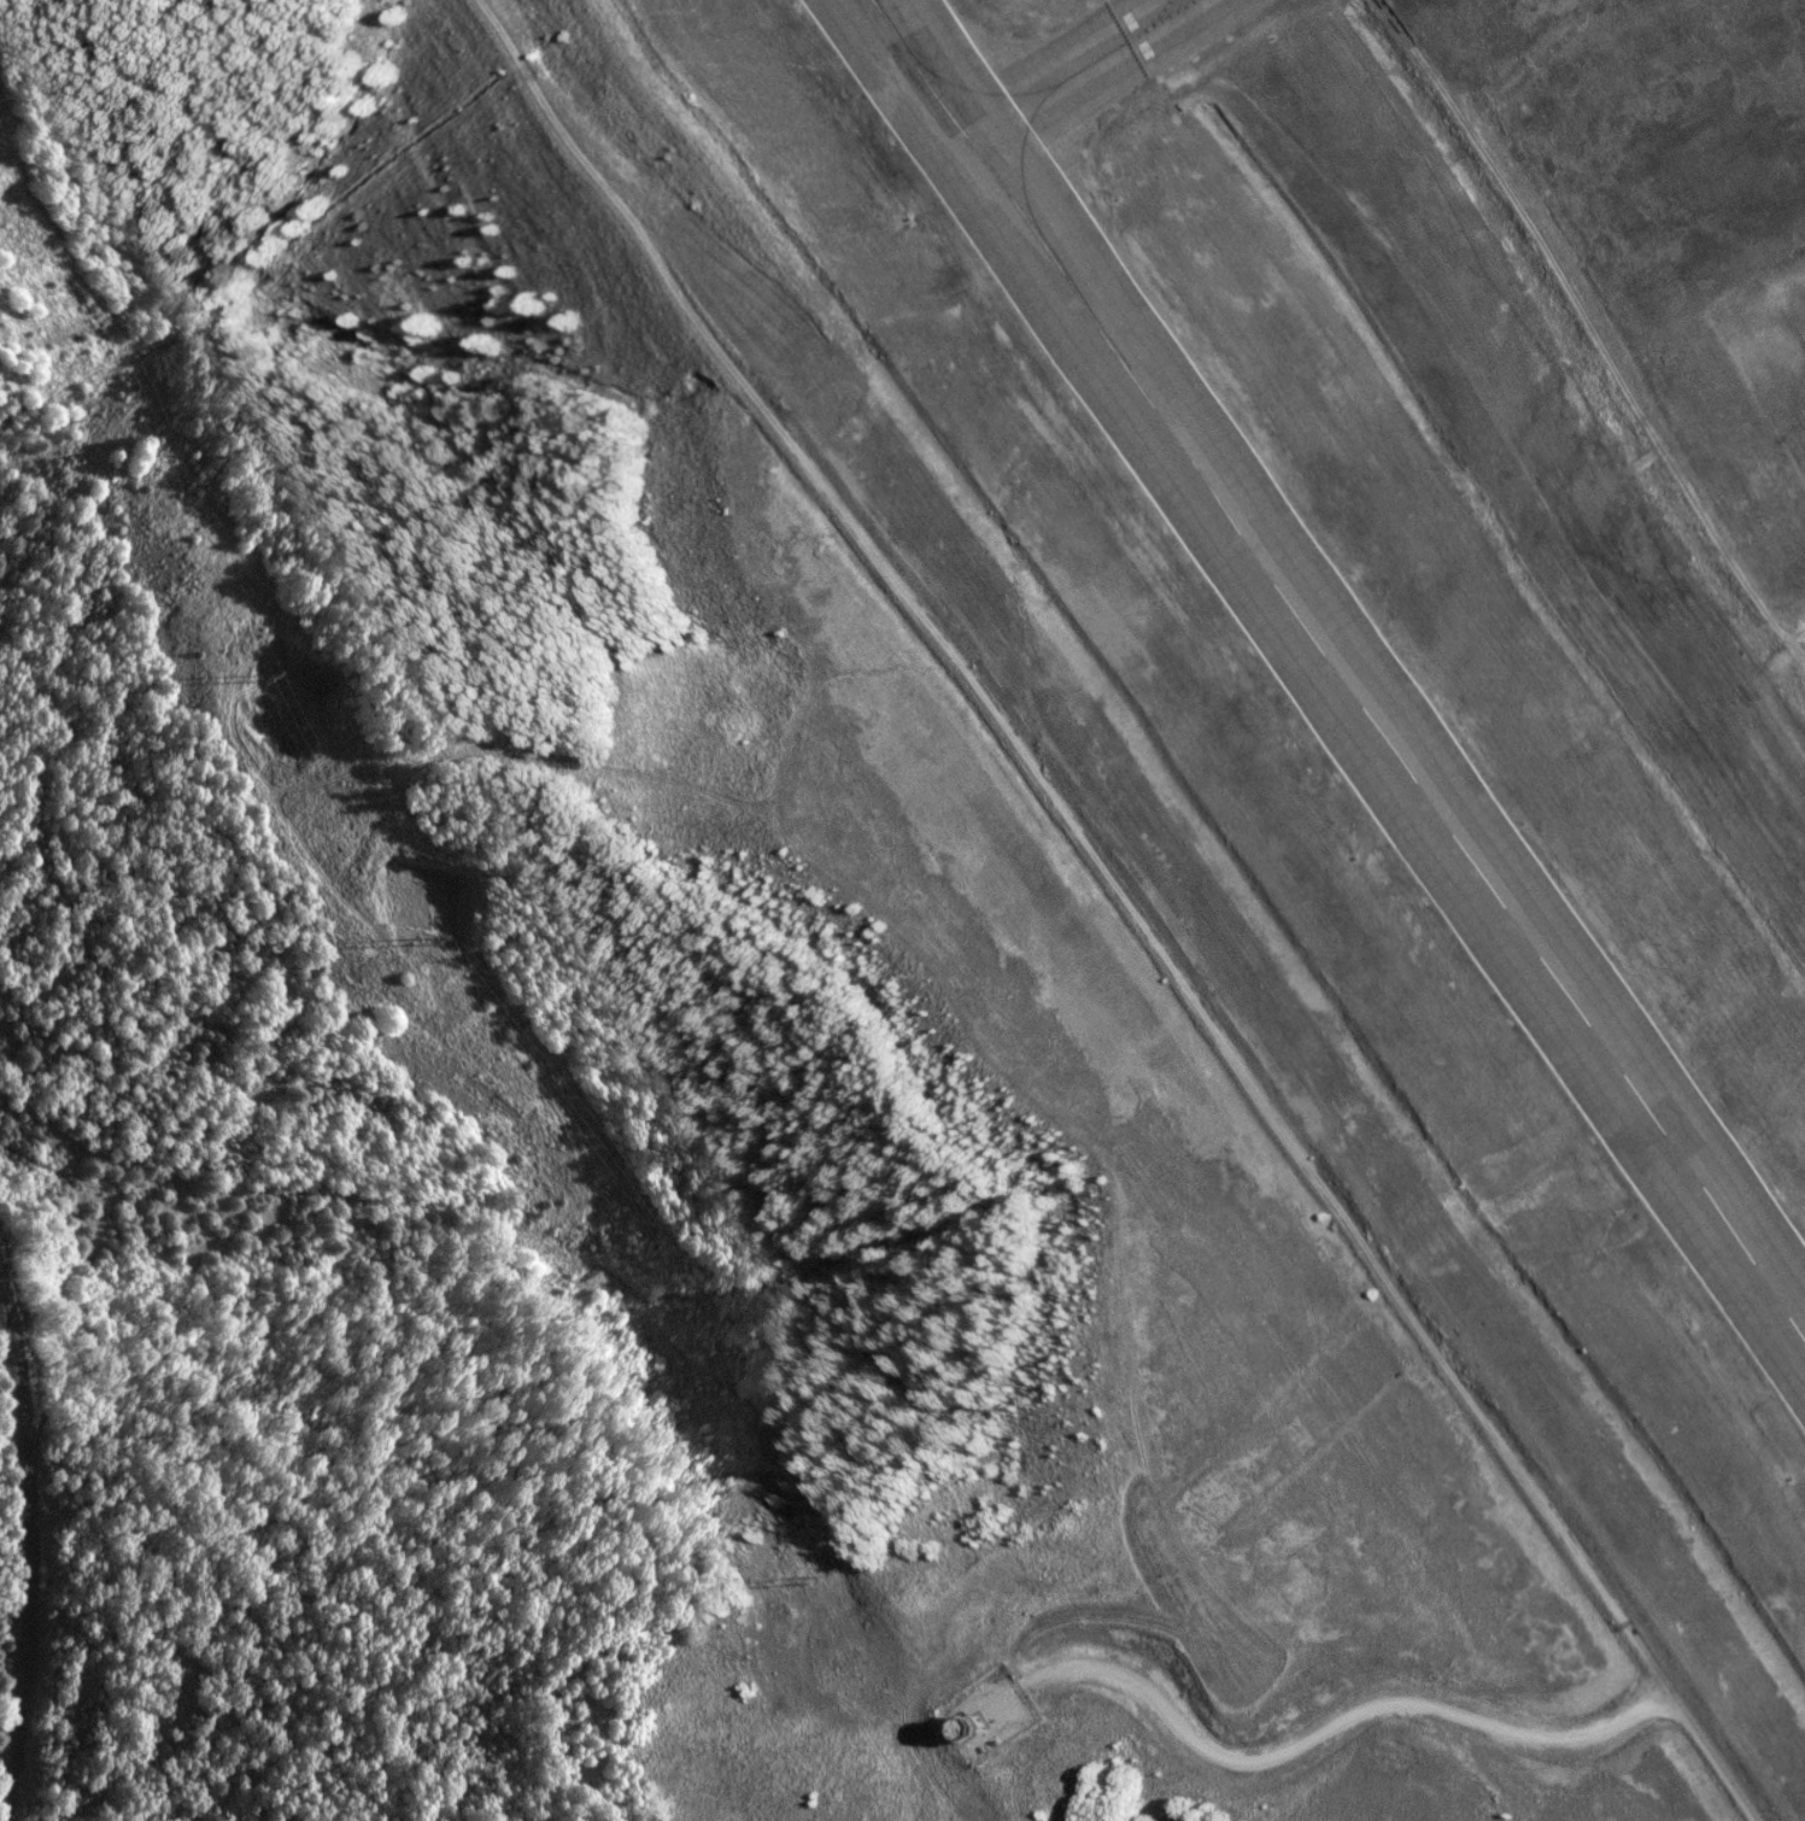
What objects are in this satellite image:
airport taxiway: (1133, 21)
airport taxiway: (1107, 46)
airport taxiway: (947, 99)
airport taxiway: (1006, 168)
power tower: (254, 684)
airport runway: (1326, 691)
airport: (1079, 792)
power tower: (414, 944)
railway: (28, 1493)
power tower: (799, 1582)
road: (1366, 1705)

